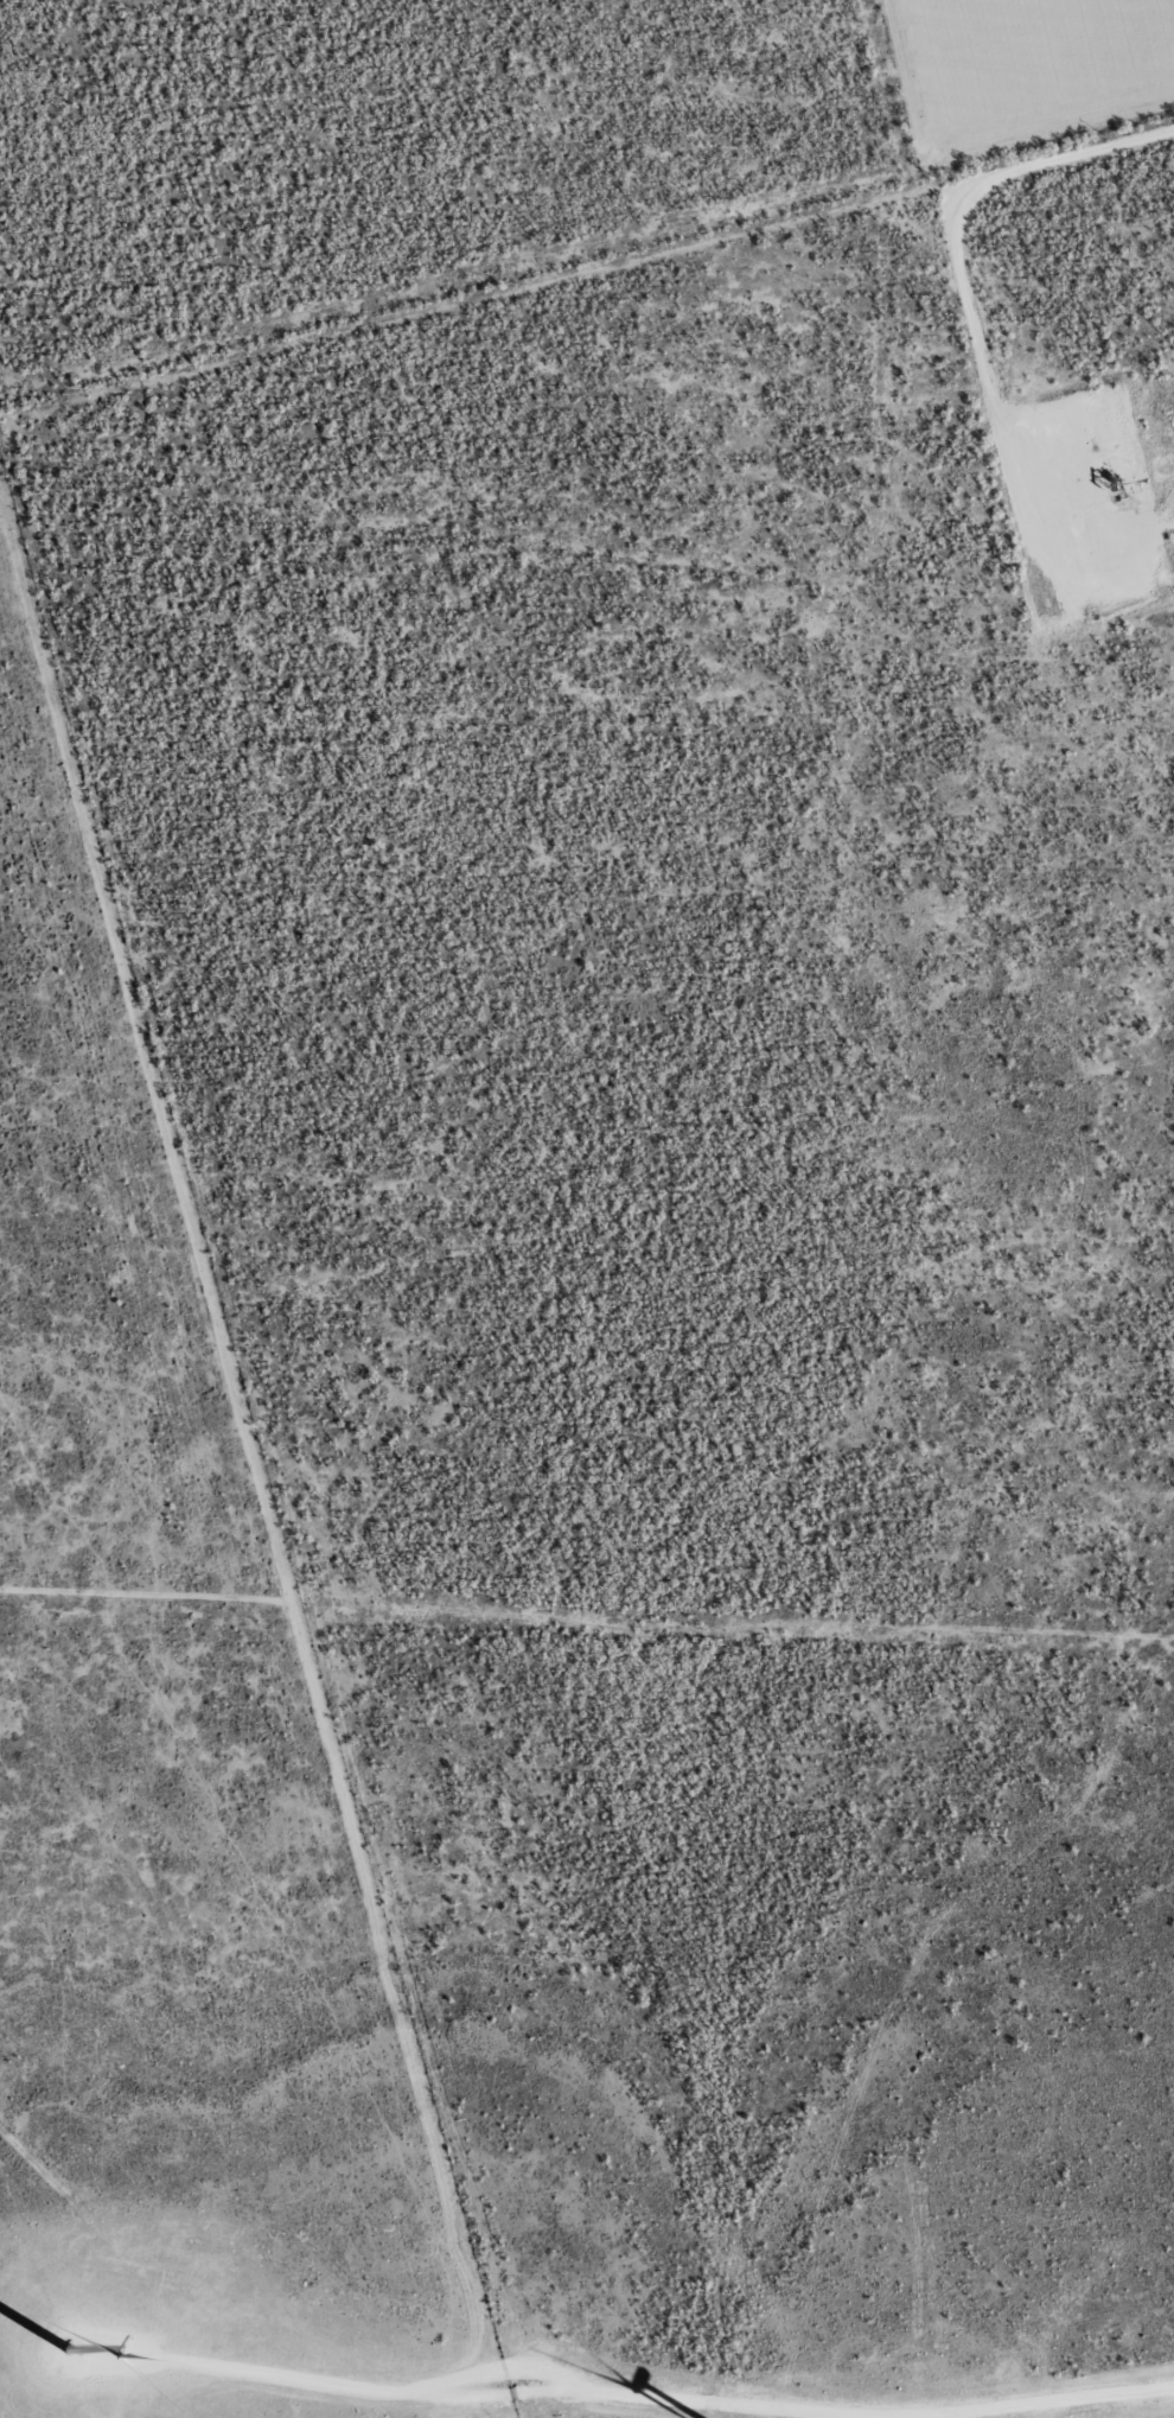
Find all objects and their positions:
road: (190, 2231)
wind turbine: (66, 2348)

